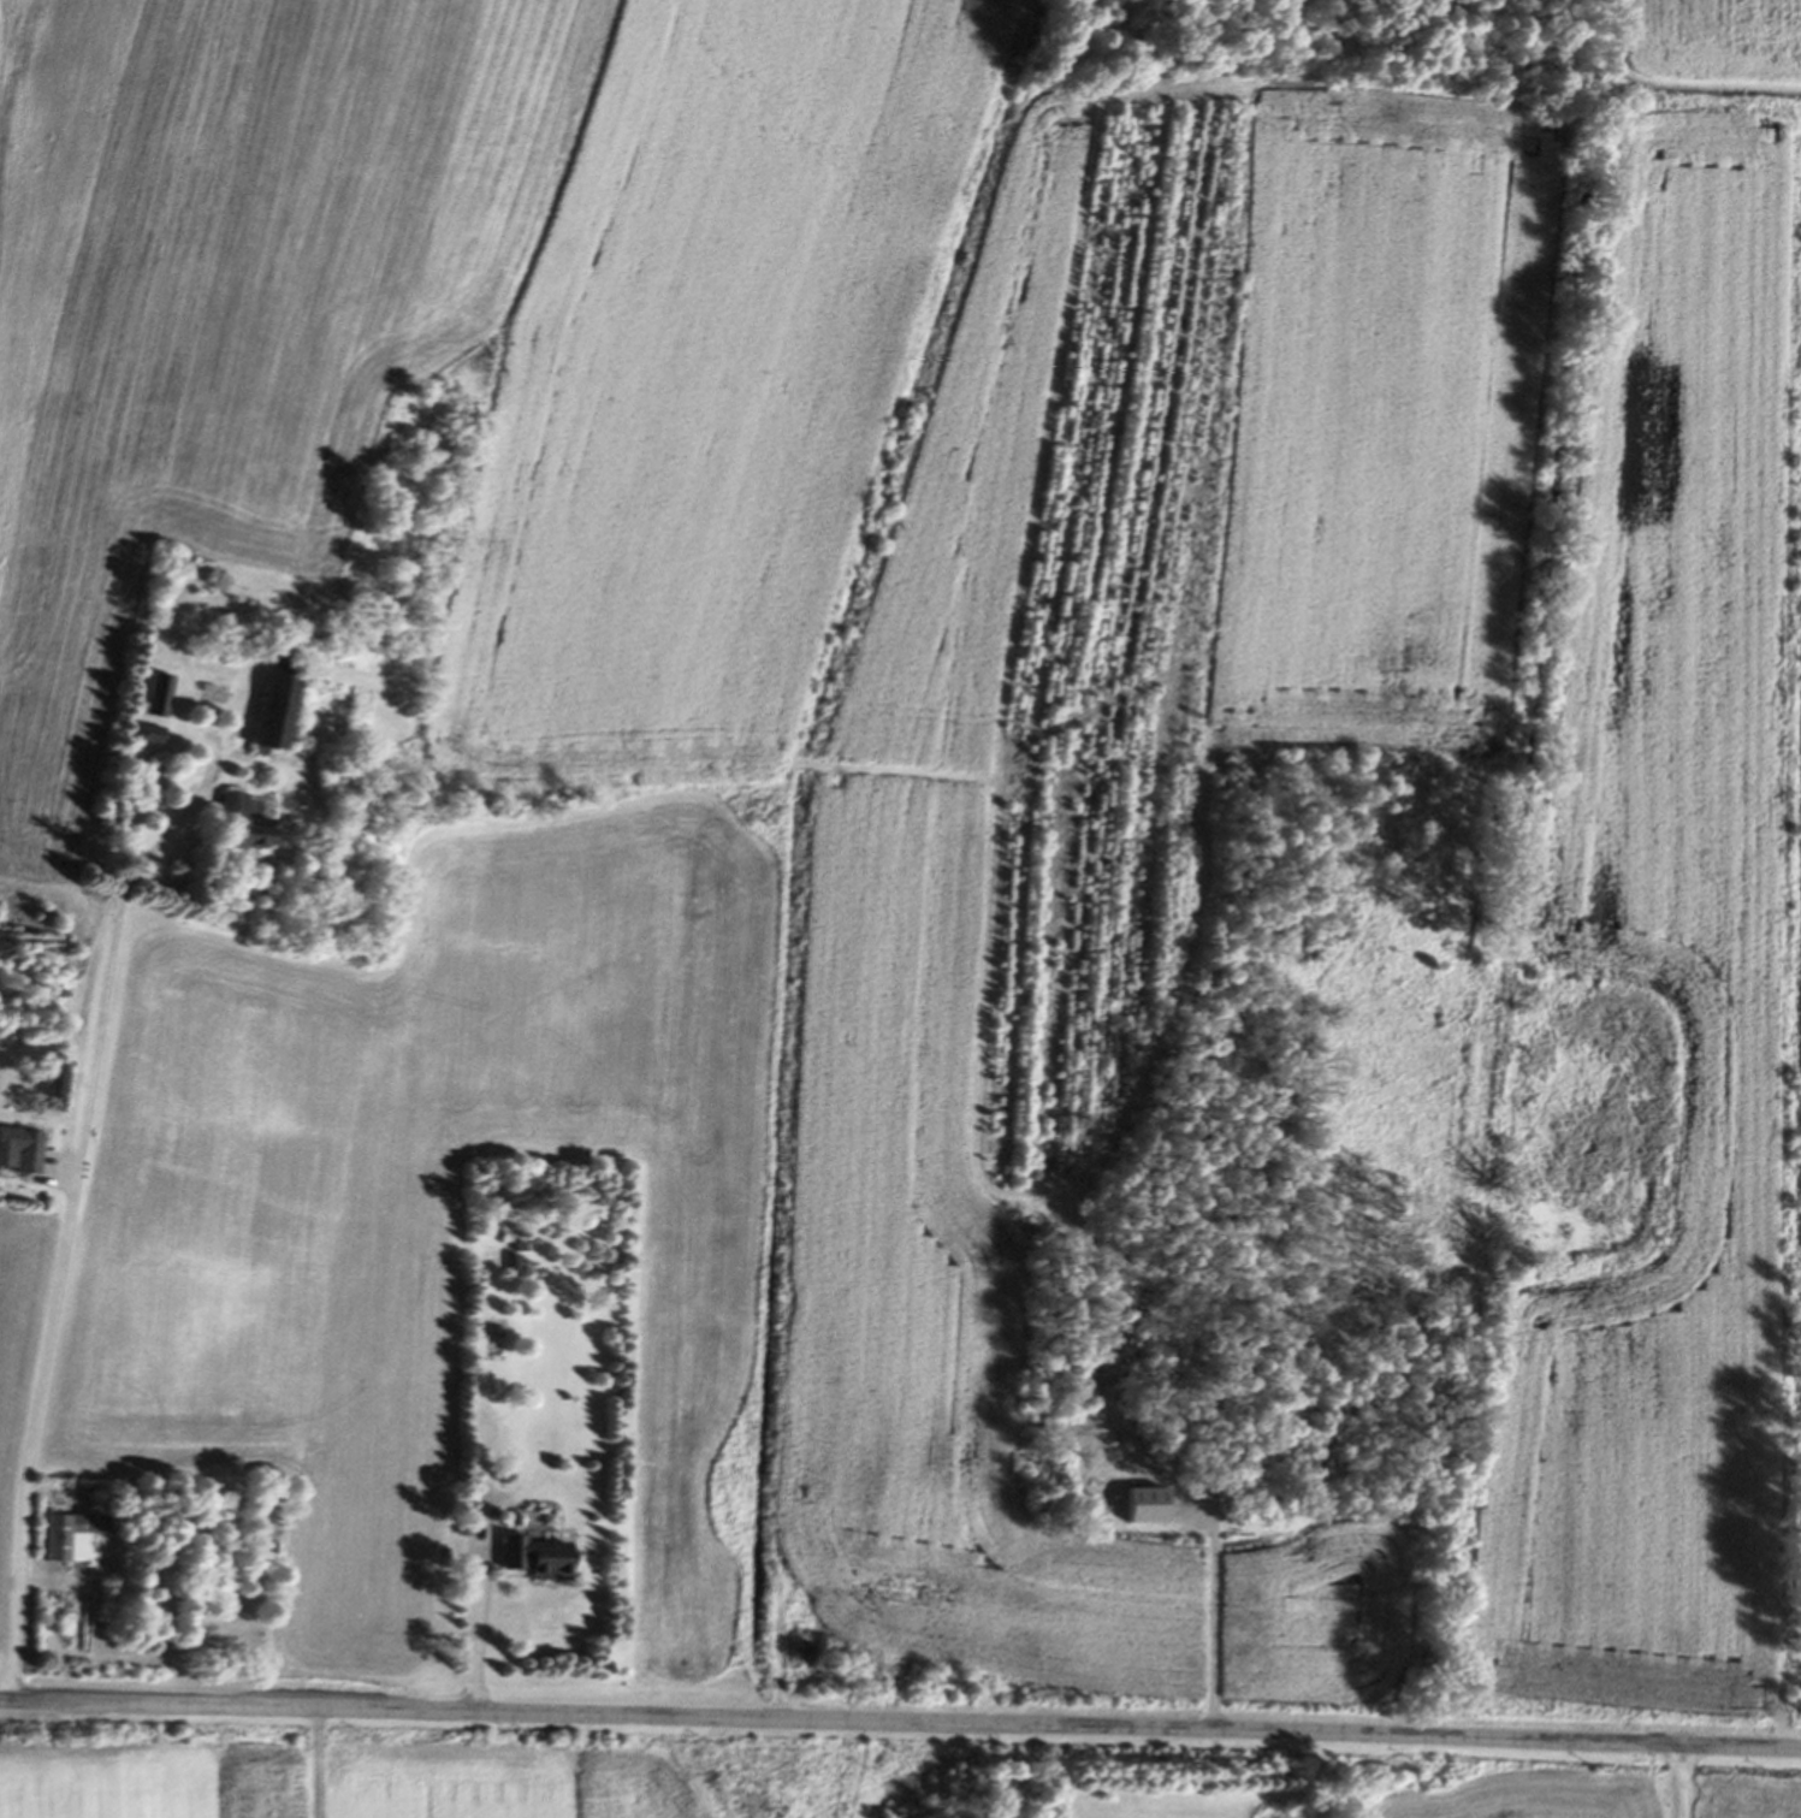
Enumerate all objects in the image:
building: (153, 697)
building: (261, 705)
building: (144, 736)
building: (227, 825)
building: (1489, 1138)
building: (17, 1151)
road: (61, 1167)
building: (513, 1261)
building: (63, 1538)
building: (526, 1559)
road: (472, 1627)
road: (900, 1723)
road: (265, 1757)
road: (1681, 1782)

